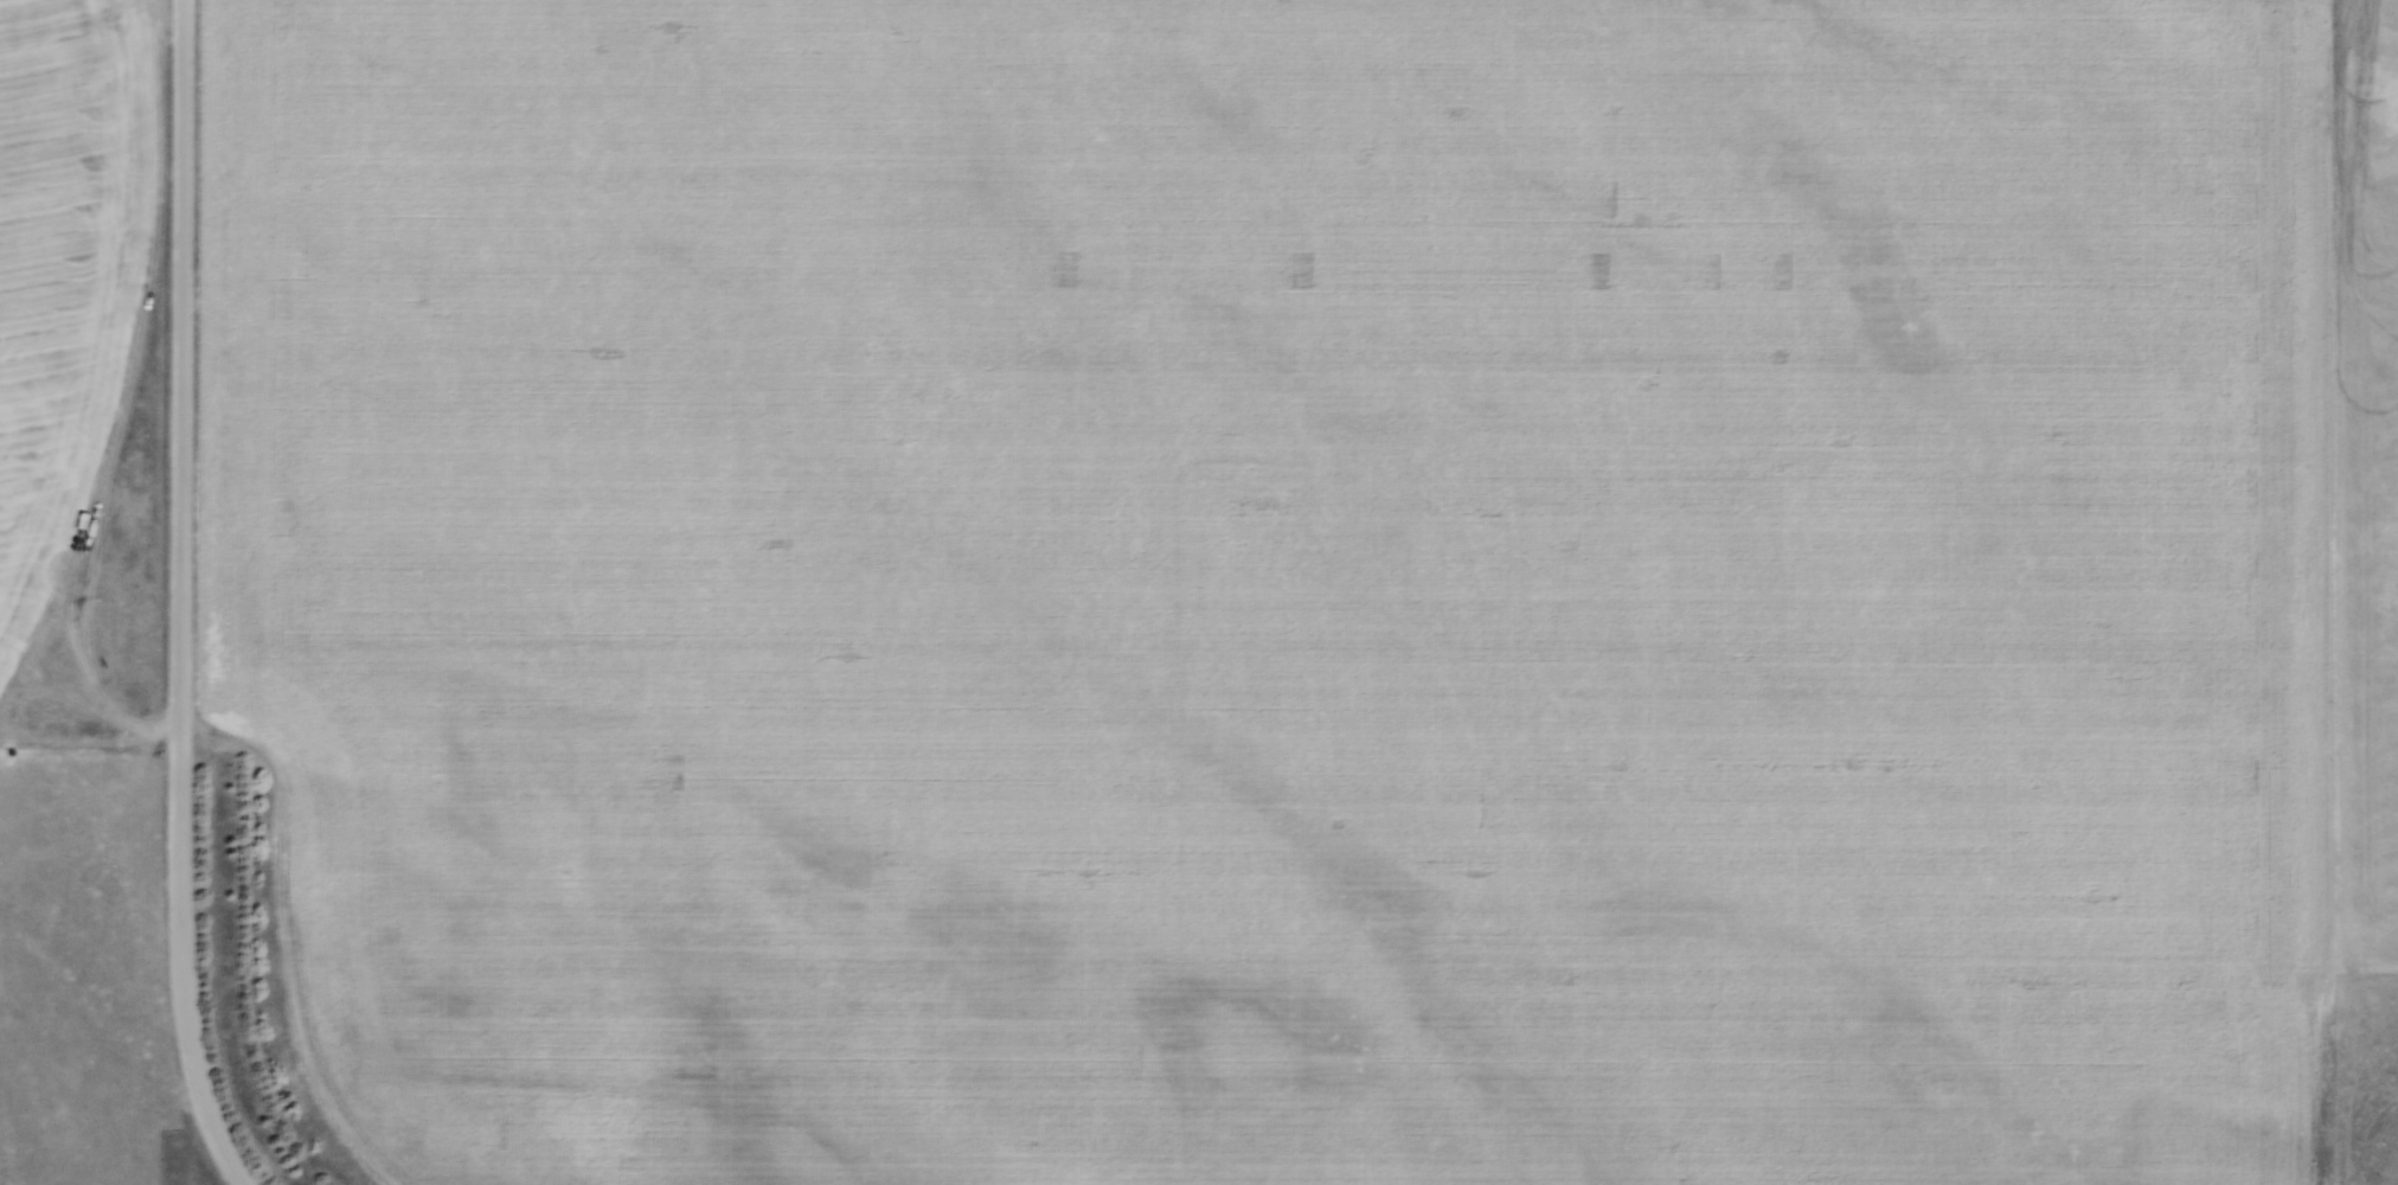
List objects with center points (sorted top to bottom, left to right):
crop: (63, 232)
crop: (2366, 466)
road: (180, 598)

